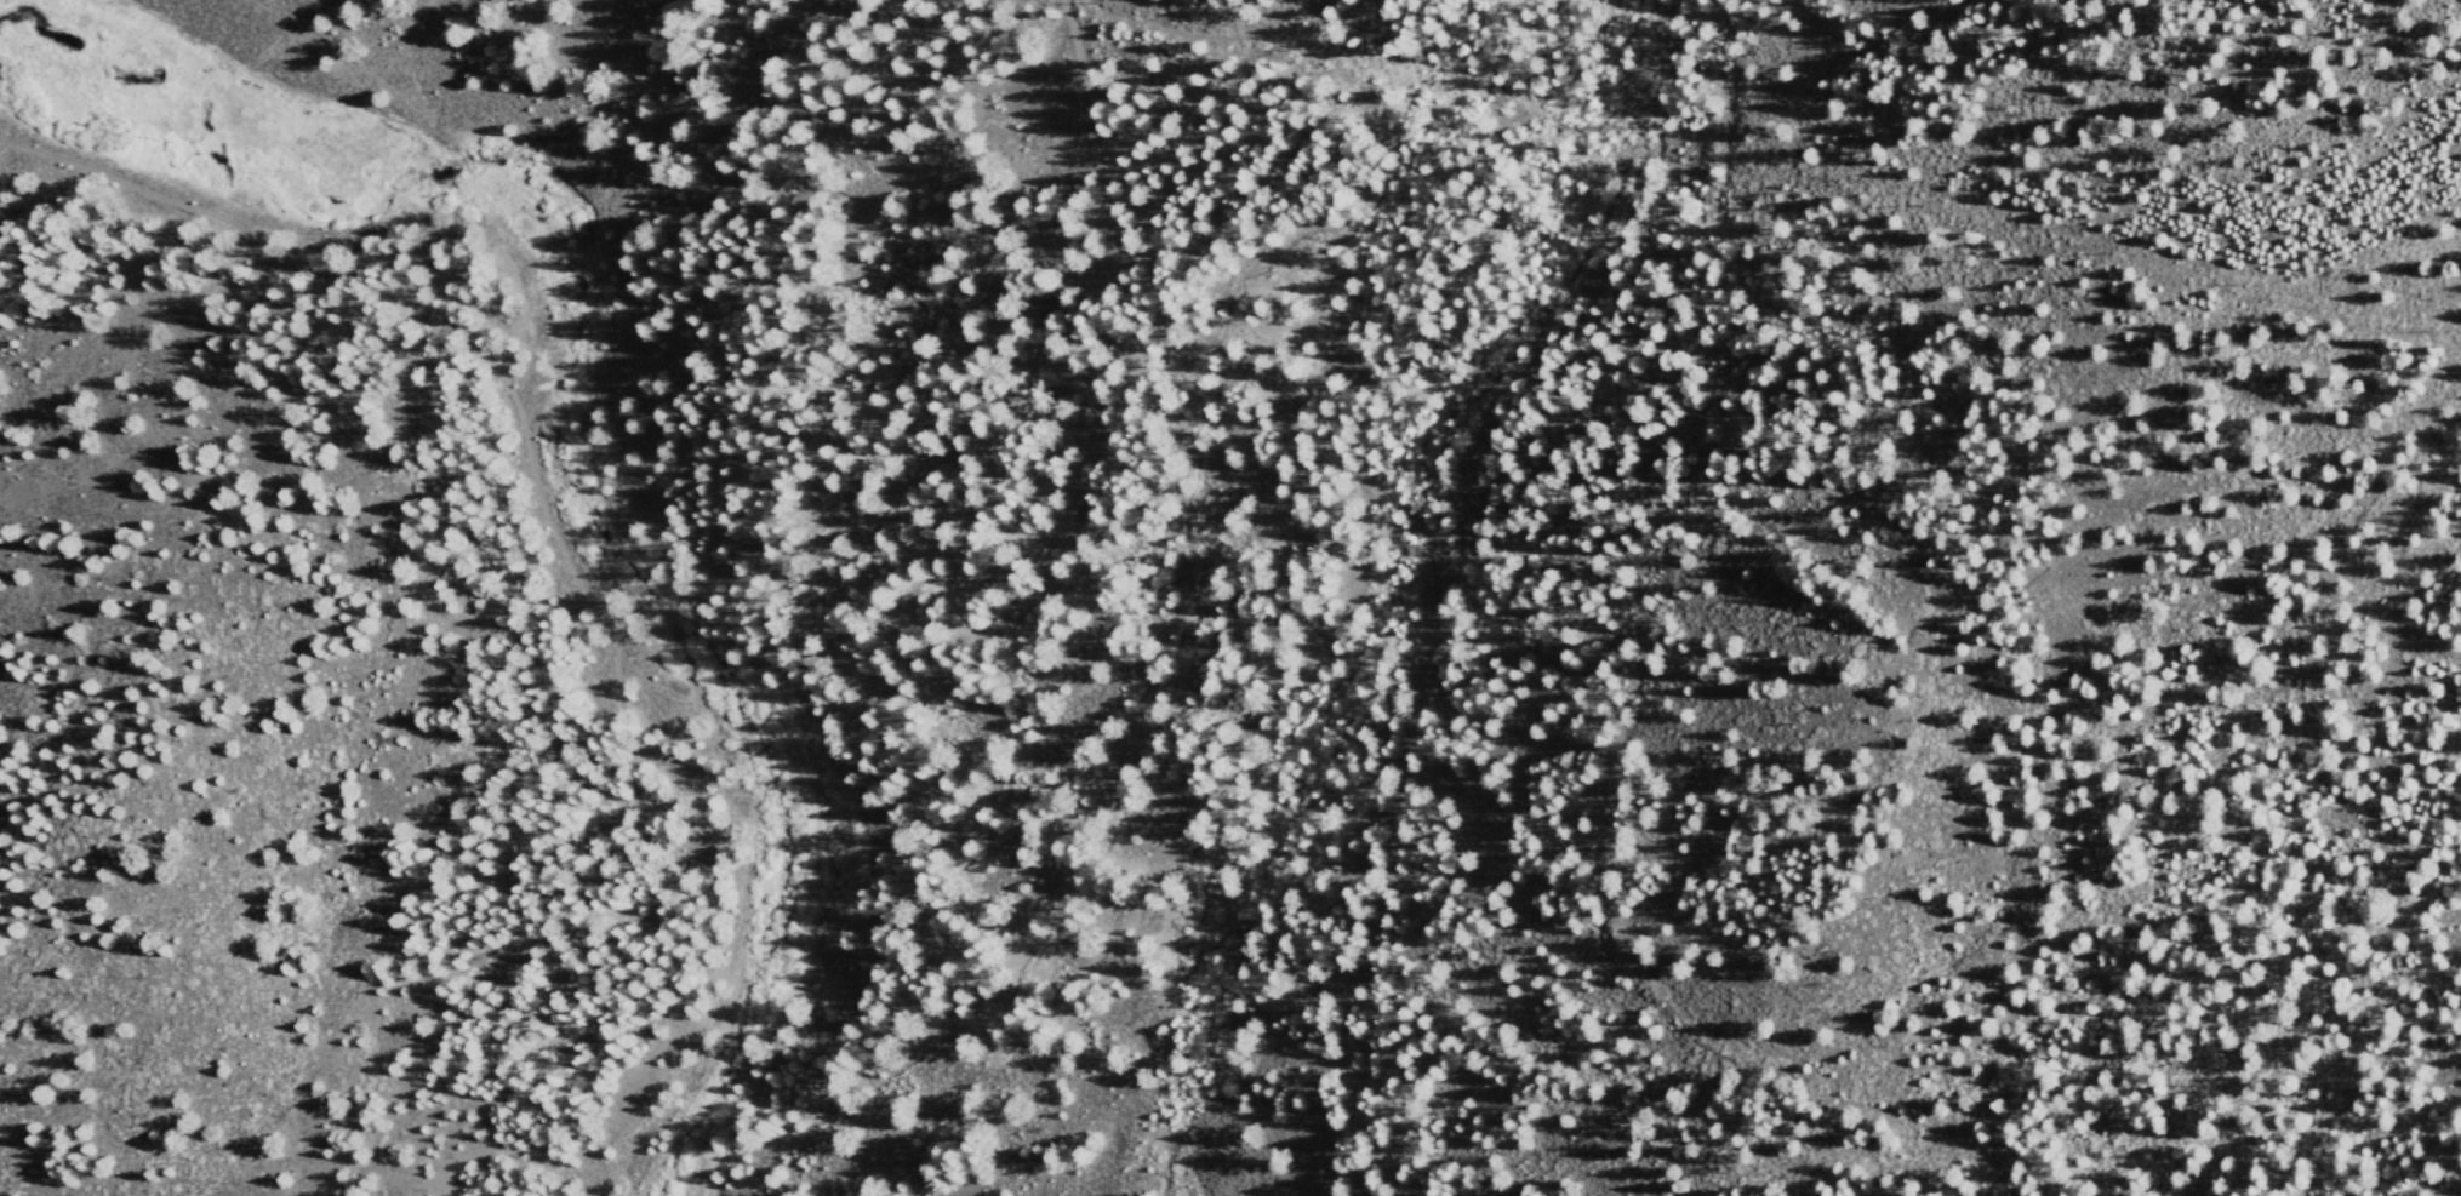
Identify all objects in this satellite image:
road: (1086, 142)
road: (977, 161)
road: (1575, 303)
road: (436, 327)
road: (1414, 683)

